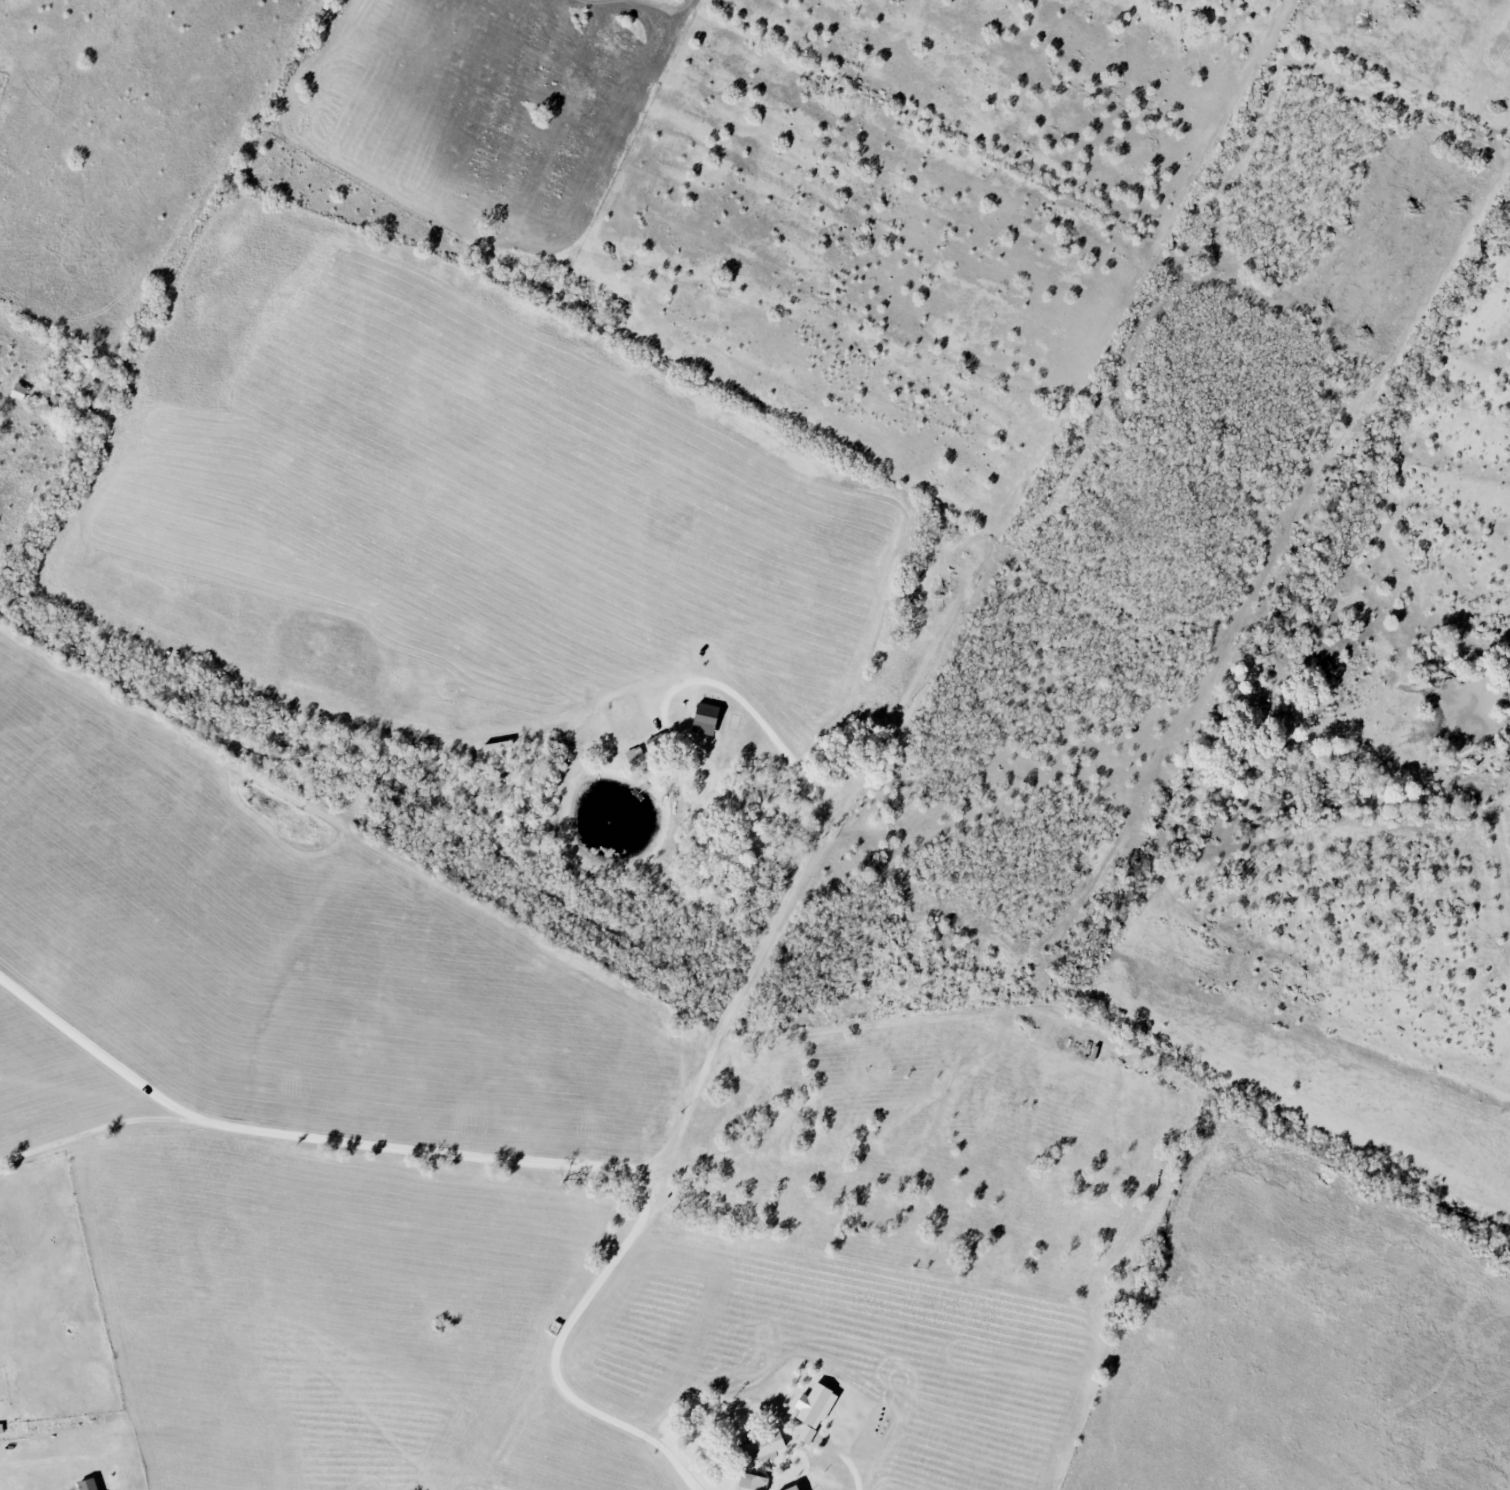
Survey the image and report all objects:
building: (85, 373)
building: (18, 392)
building: (705, 719)
road: (95, 1047)
road: (687, 1116)
road: (93, 1130)
road: (553, 1355)
building: (814, 1406)
building: (806, 1435)
building: (762, 1446)
road: (43, 1457)
building: (753, 1482)
building: (88, 1484)
building: (792, 1488)

